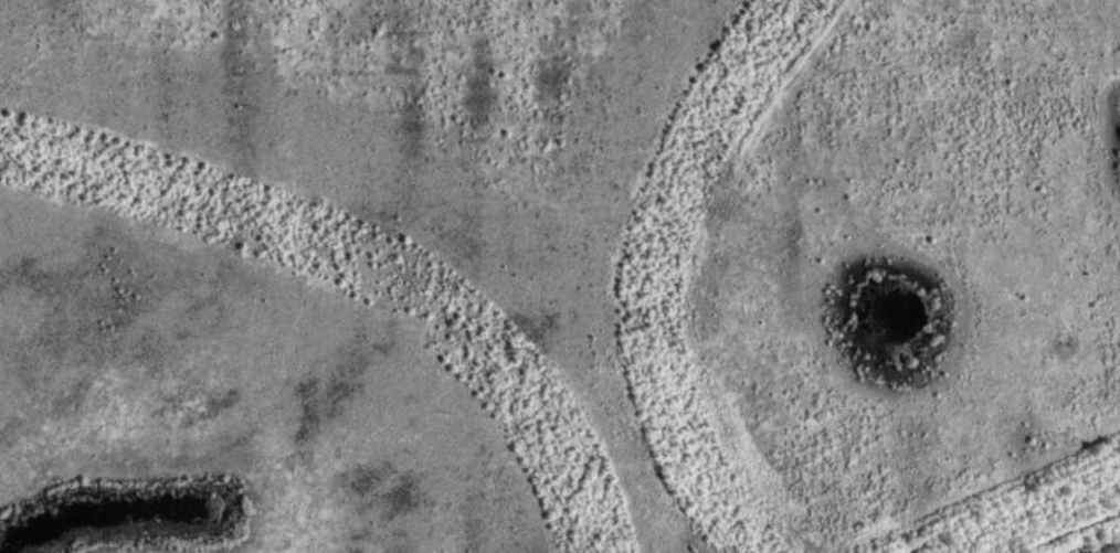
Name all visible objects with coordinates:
road: (1066, 531)

